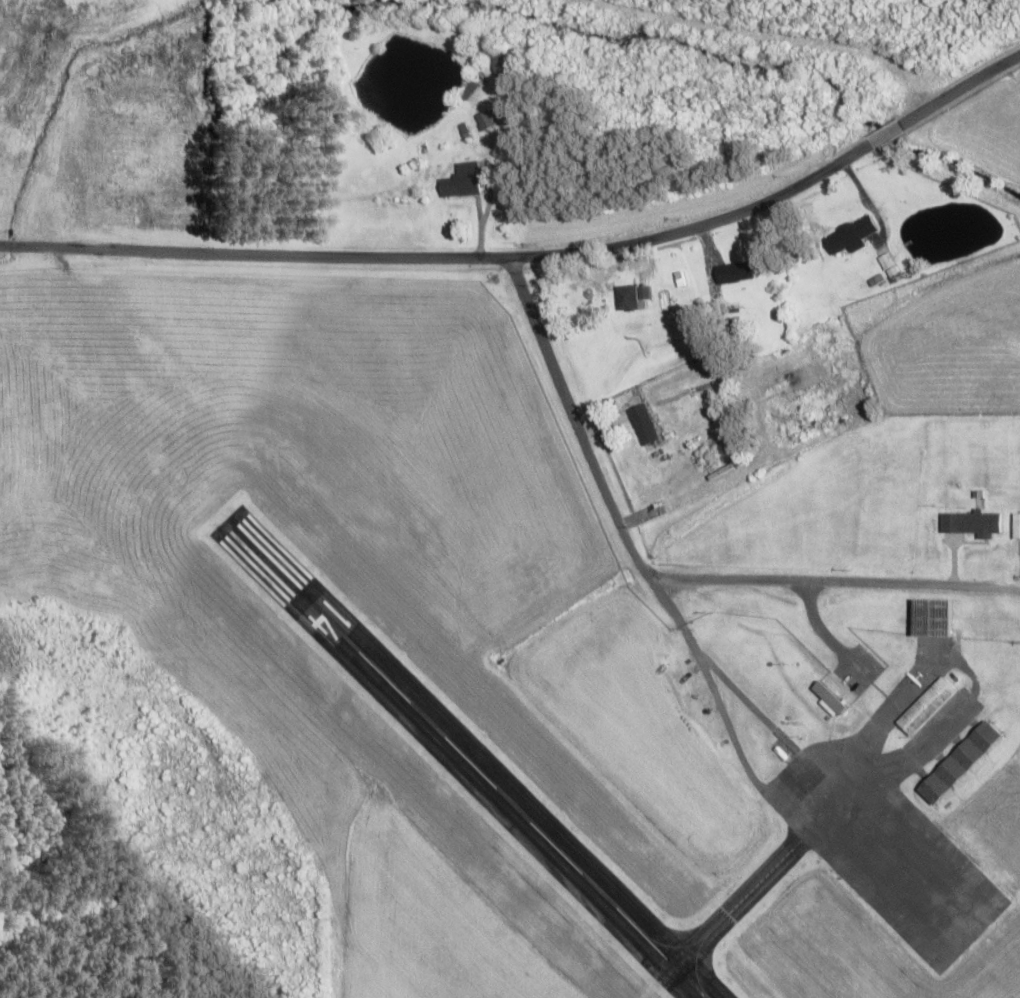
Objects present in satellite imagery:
building: (502, 65)
building: (484, 120)
building: (461, 181)
building: (849, 236)
road: (533, 256)
building: (733, 273)
building: (626, 299)
building: (642, 425)
road: (661, 575)
building: (932, 618)
building: (924, 706)
airport runway: (462, 759)
building: (958, 764)
airport apron: (882, 850)
airport taxiway: (728, 910)
airport taxiway: (670, 948)

